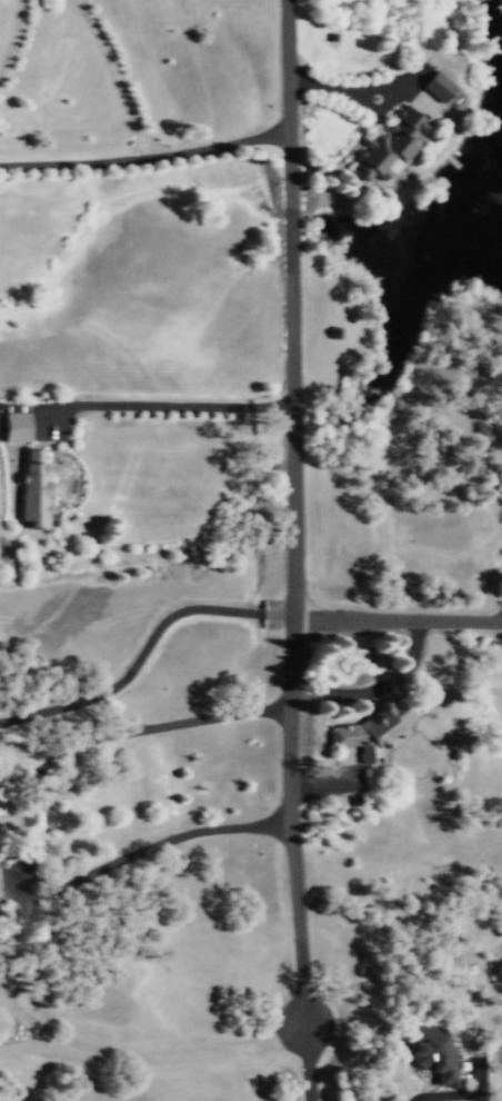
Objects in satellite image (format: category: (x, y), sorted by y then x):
road: (19, 46)
road: (121, 75)
building: (438, 86)
road: (363, 97)
building: (390, 148)
road: (149, 156)
road: (164, 404)
building: (16, 425)
building: (33, 489)
road: (299, 550)
road: (399, 617)
road: (143, 645)
road: (380, 685)
road: (211, 717)
building: (373, 730)
road: (328, 783)
road: (150, 845)
road: (27, 1020)
road: (27, 1044)
building: (434, 1050)
road: (180, 1055)
road: (444, 1093)

